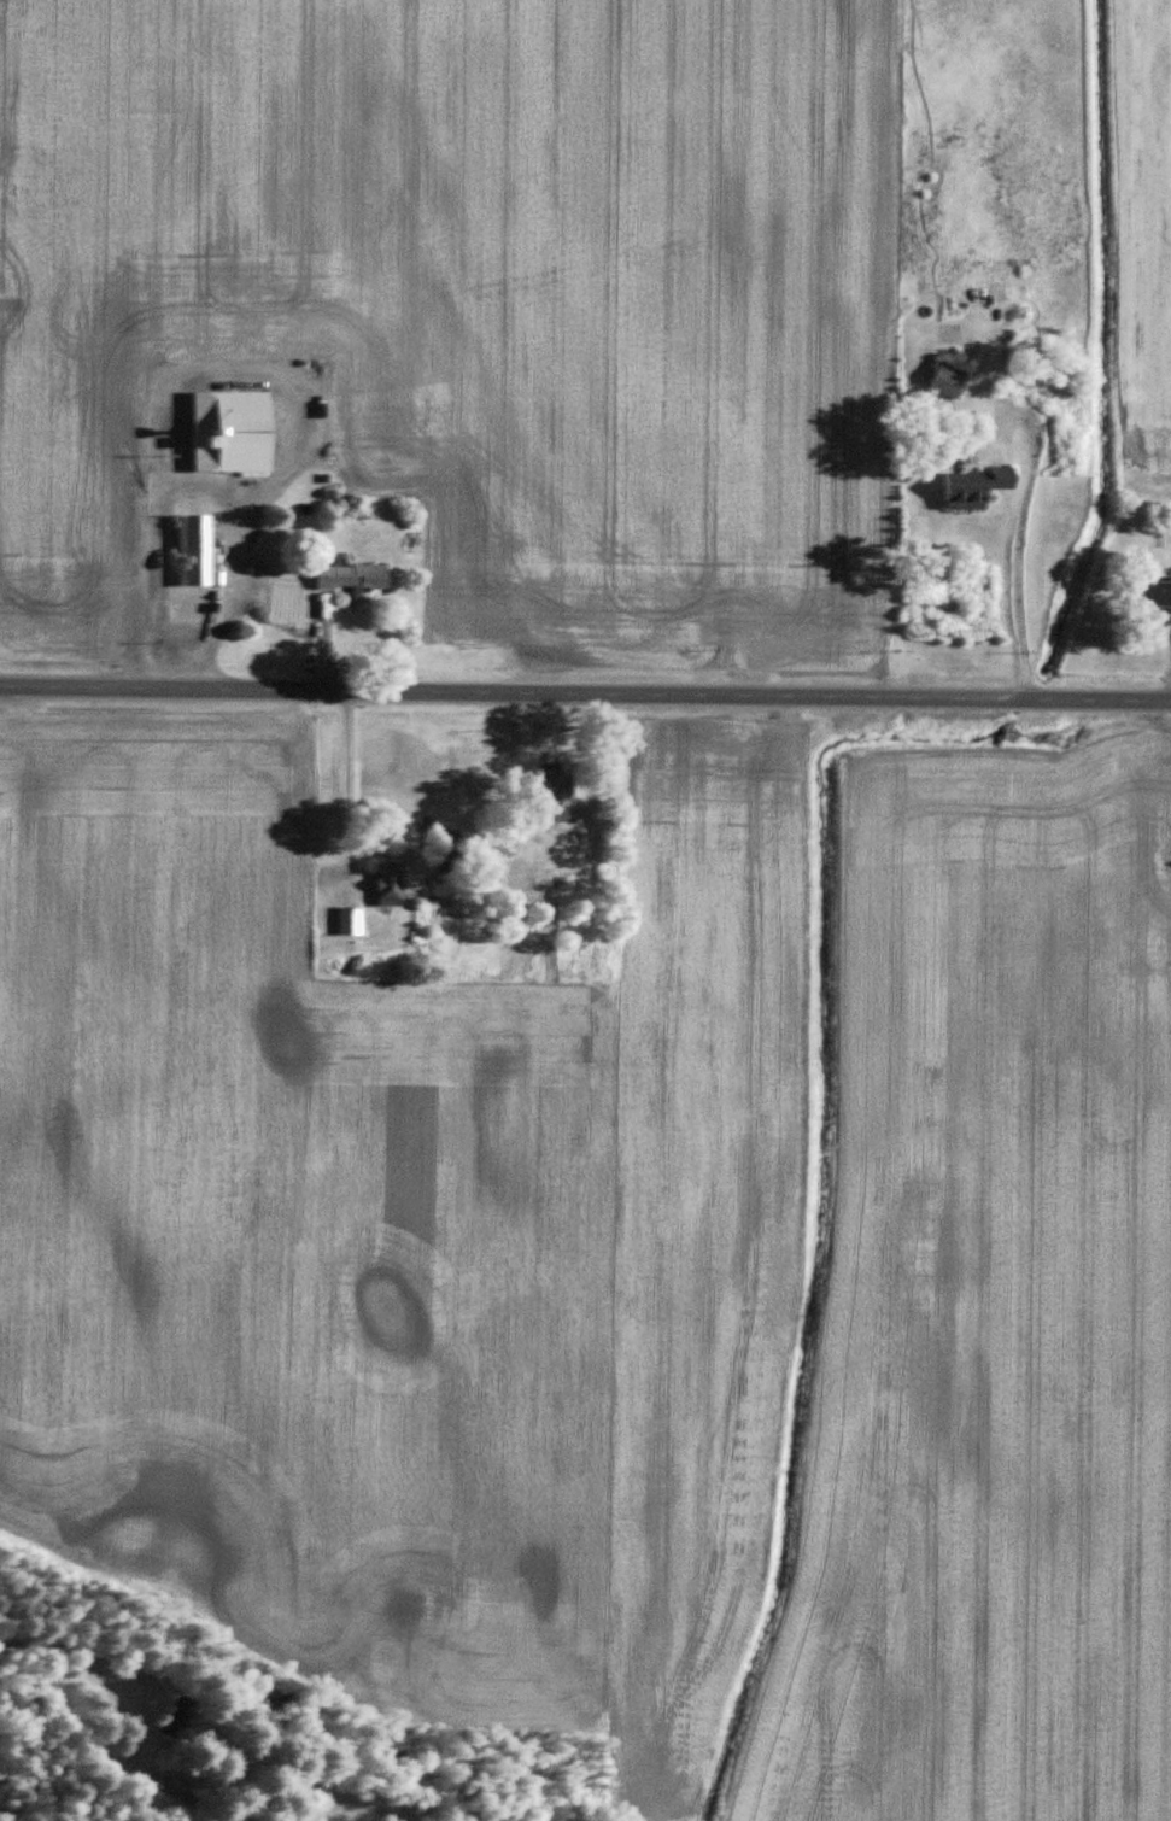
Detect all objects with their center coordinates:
road: (230, 351)
building: (941, 381)
building: (224, 432)
building: (965, 487)
road: (1013, 528)
building: (193, 550)
building: (347, 580)
building: (1150, 595)
road: (585, 699)
building: (549, 796)
building: (383, 885)
building: (346, 921)
road: (98, 1669)
building: (168, 1802)

